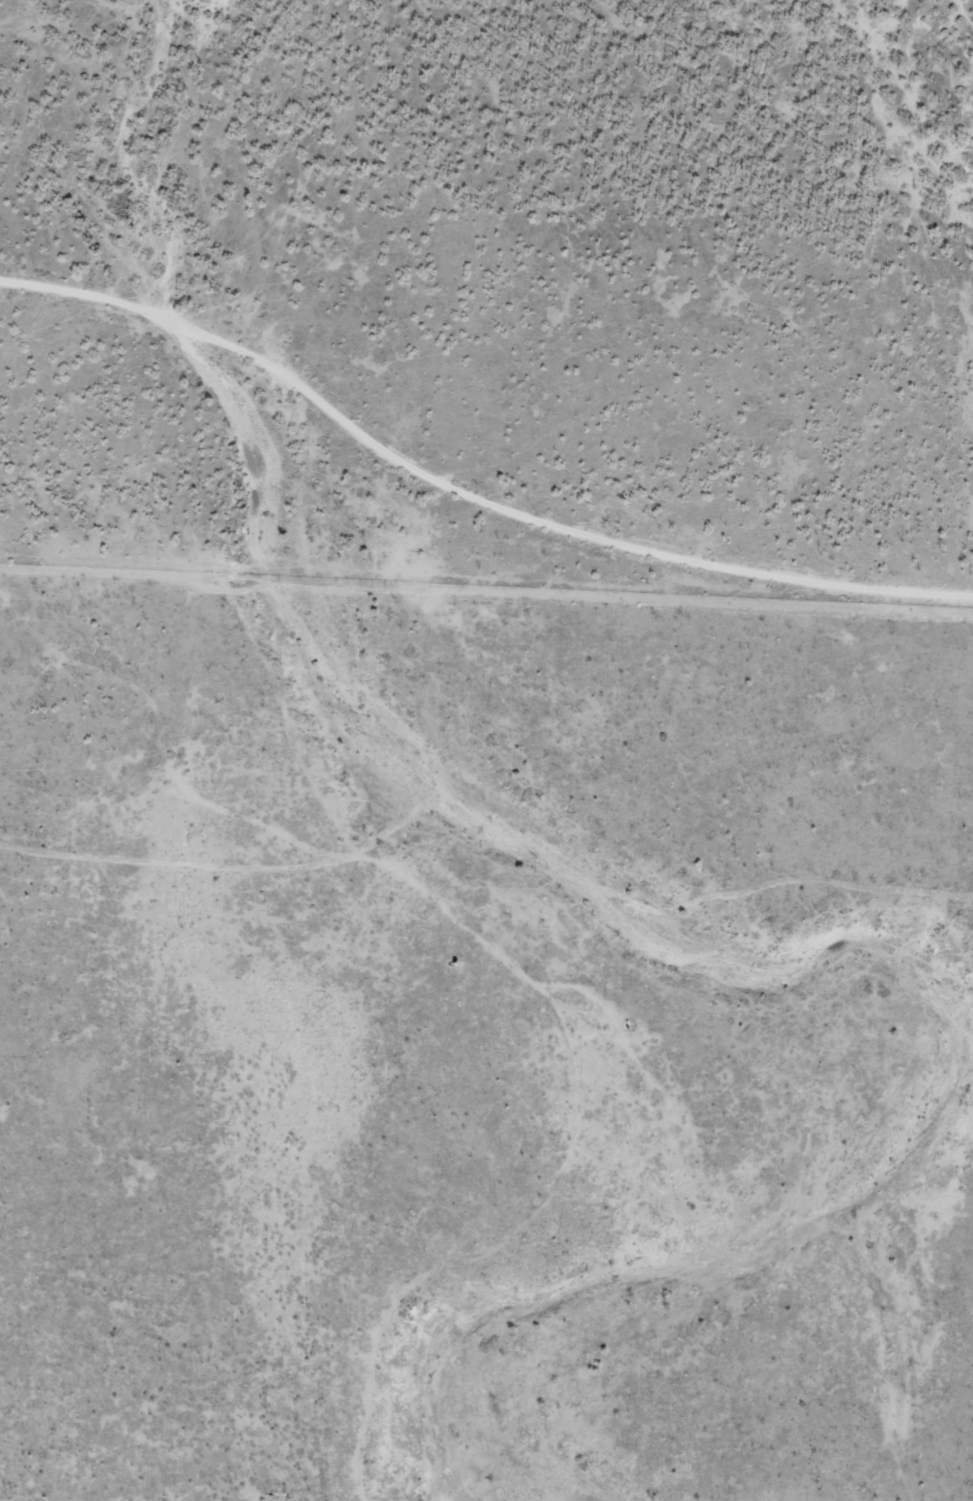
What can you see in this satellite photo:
road: (445, 512)

